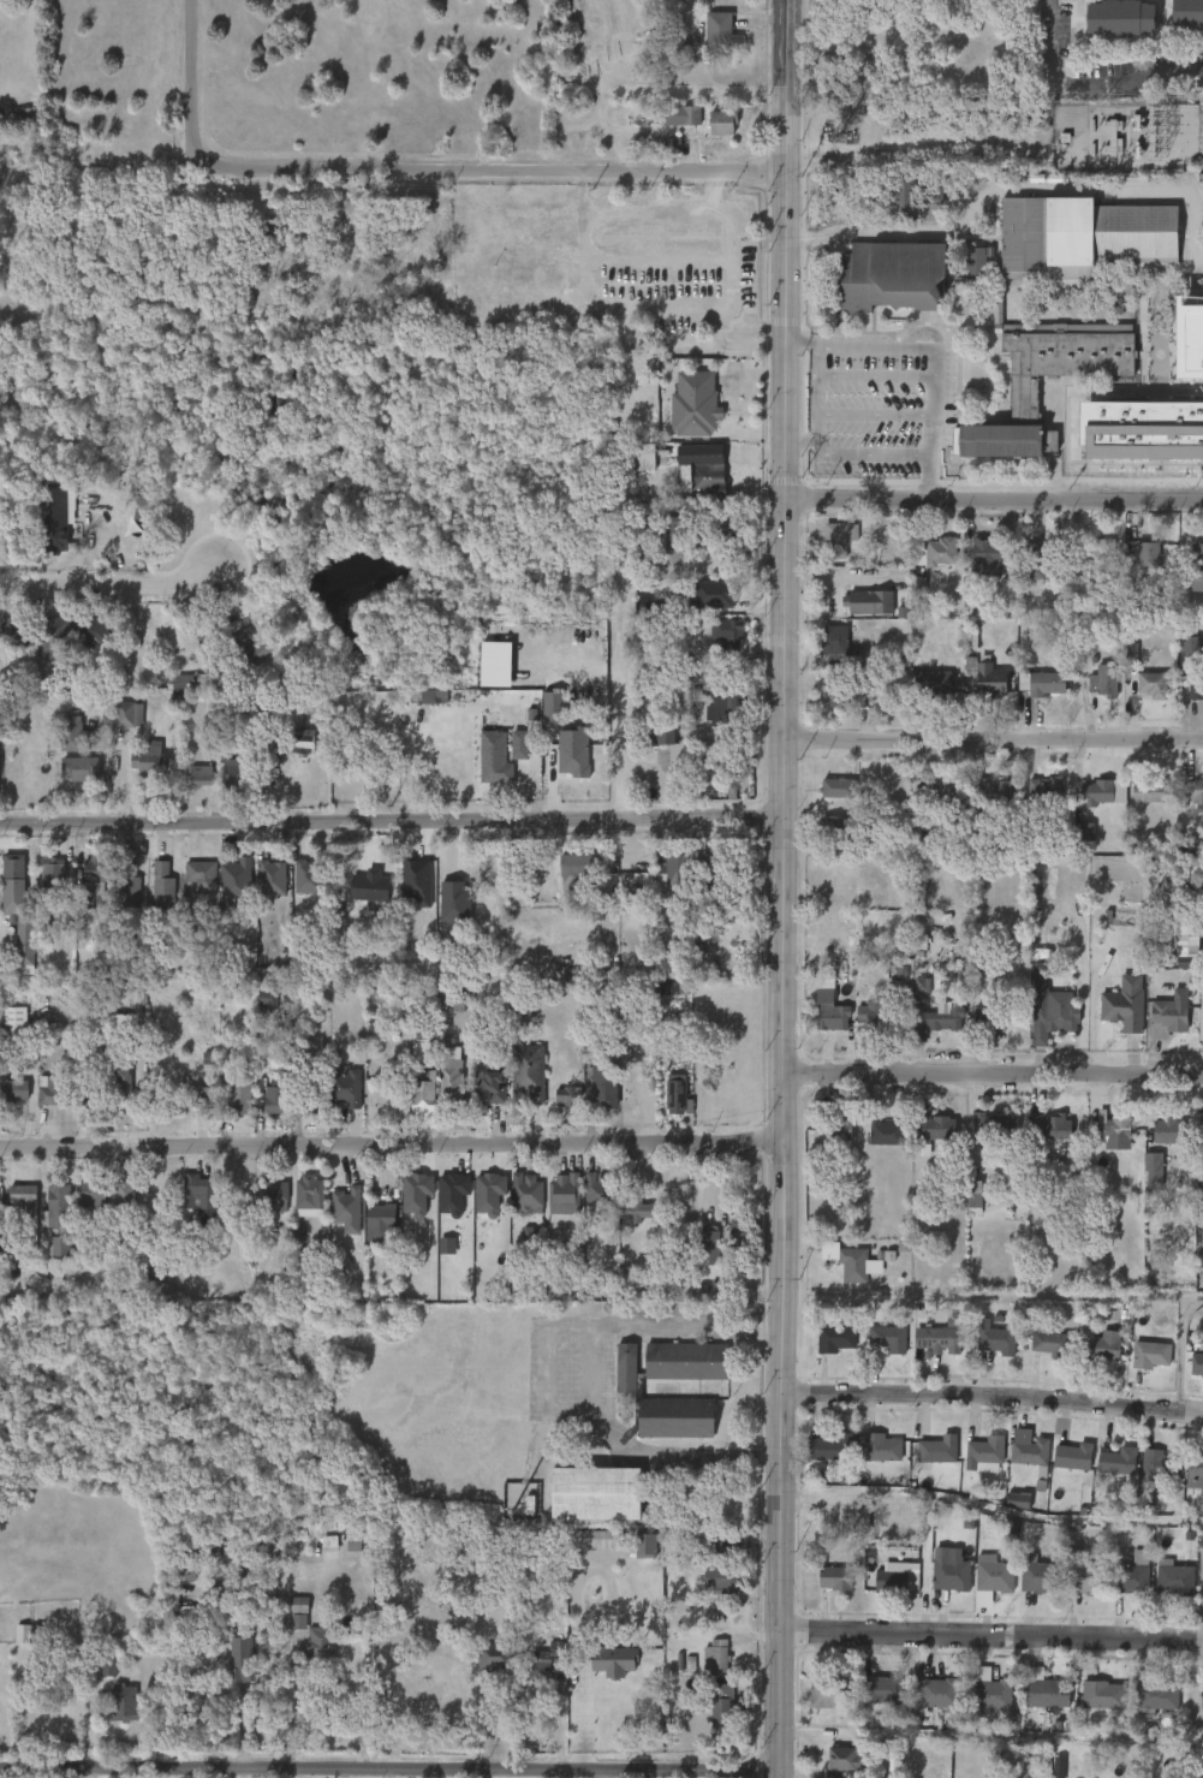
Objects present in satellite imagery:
building: (726, 2)
building: (1186, 12)
building: (1115, 16)
building: (722, 34)
road: (193, 40)
road: (1090, 85)
road: (619, 90)
building: (681, 115)
building: (719, 121)
road: (454, 171)
building: (905, 198)
building: (934, 201)
building: (1084, 236)
building: (975, 262)
building: (894, 275)
building: (1186, 343)
road: (921, 350)
building: (1059, 352)
road: (871, 375)
parking lot: (870, 394)
building: (692, 405)
road: (815, 410)
road: (870, 415)
building: (1138, 434)
building: (1001, 442)
road: (866, 456)
building: (645, 458)
building: (704, 477)
road: (927, 490)
road: (993, 500)
building: (62, 511)
building: (2, 519)
building: (727, 521)
building: (672, 533)
building: (839, 539)
building: (937, 551)
building: (1098, 553)
building: (892, 554)
building: (984, 554)
building: (1145, 557)
building: (1043, 558)
building: (1197, 561)
road: (627, 566)
road: (111, 585)
building: (713, 595)
building: (870, 602)
building: (56, 631)
building: (12, 632)
building: (95, 634)
building: (725, 634)
building: (1191, 646)
building: (840, 647)
building: (245, 648)
building: (1131, 652)
building: (495, 665)
building: (987, 678)
building: (1102, 680)
building: (190, 682)
building: (933, 683)
building: (1044, 683)
building: (1153, 685)
building: (1195, 686)
building: (434, 697)
building: (846, 697)
building: (722, 704)
building: (553, 708)
building: (127, 714)
building: (657, 730)
building: (70, 733)
road: (991, 741)
building: (303, 743)
building: (519, 745)
building: (573, 753)
building: (148, 757)
building: (494, 759)
building: (79, 768)
building: (201, 775)
building: (232, 775)
building: (839, 790)
building: (1047, 791)
building: (1144, 791)
building: (1193, 791)
building: (1094, 792)
building: (991, 795)
building: (936, 796)
road: (391, 820)
building: (834, 832)
building: (1029, 832)
building: (1084, 832)
building: (578, 866)
building: (673, 870)
building: (13, 872)
building: (54, 873)
building: (202, 876)
building: (309, 878)
building: (272, 879)
building: (96, 881)
building: (238, 884)
building: (713, 884)
building: (129, 888)
building: (371, 888)
road: (780, 888)
building: (163, 891)
building: (543, 892)
building: (454, 904)
building: (679, 928)
building: (29, 939)
building: (1186, 940)
building: (663, 963)
building: (1040, 971)
building: (894, 977)
building: (671, 988)
building: (266, 1000)
building: (1122, 1009)
building: (832, 1012)
building: (876, 1015)
building: (14, 1016)
building: (1167, 1017)
building: (936, 1018)
building: (989, 1018)
building: (1052, 1023)
building: (123, 1034)
road: (1202, 1043)
building: (529, 1074)
road: (991, 1075)
building: (449, 1080)
building: (601, 1086)
building: (125, 1088)
building: (489, 1088)
building: (346, 1089)
building: (16, 1090)
building: (58, 1092)
building: (672, 1094)
building: (91, 1096)
building: (240, 1096)
building: (567, 1096)
building: (202, 1099)
building: (421, 1099)
building: (275, 1100)
building: (311, 1101)
building: (401, 1108)
building: (996, 1125)
building: (933, 1128)
building: (1052, 1128)
building: (1198, 1128)
building: (836, 1130)
building: (1112, 1130)
building: (1168, 1130)
building: (883, 1132)
road: (389, 1147)
building: (1154, 1171)
building: (597, 1190)
building: (199, 1191)
building: (524, 1191)
building: (89, 1193)
building: (294, 1193)
building: (416, 1194)
building: (453, 1194)
building: (489, 1194)
building: (561, 1195)
building: (975, 1195)
building: (28, 1196)
building: (125, 1196)
building: (61, 1207)
building: (350, 1209)
building: (636, 1209)
building: (385, 1223)
building: (743, 1237)
building: (59, 1248)
building: (708, 1249)
building: (854, 1263)
building: (836, 1338)
building: (887, 1338)
building: (941, 1339)
building: (996, 1340)
building: (1053, 1344)
building: (1102, 1346)
building: (1149, 1352)
road: (1181, 1352)
building: (686, 1361)
building: (1196, 1362)
building: (627, 1367)
road: (549, 1375)
road: (990, 1397)
building: (672, 1419)
building: (832, 1447)
building: (877, 1447)
building: (935, 1450)
building: (983, 1450)
building: (1026, 1450)
building: (1072, 1457)
building: (1114, 1461)
building: (1157, 1464)
building: (1195, 1471)
building: (589, 1495)
building: (1018, 1500)
building: (857, 1516)
building: (329, 1544)
building: (645, 1545)
building: (725, 1545)
building: (187, 1564)
building: (953, 1574)
building: (1131, 1574)
building: (1085, 1575)
building: (836, 1577)
building: (1042, 1577)
building: (1173, 1577)
building: (994, 1578)
building: (727, 1580)
building: (892, 1581)
road: (1201, 1595)
building: (299, 1612)
road: (989, 1636)
building: (321, 1643)
building: (493, 1655)
building: (720, 1655)
building: (242, 1657)
building: (612, 1658)
building: (40, 1659)
building: (547, 1661)
building: (108, 1667)
building: (885, 1689)
building: (1047, 1690)
road: (317, 1691)
building: (829, 1691)
building: (937, 1691)
building: (991, 1693)
building: (1201, 1693)
building: (1100, 1694)
building: (1157, 1697)
building: (124, 1703)
building: (721, 1708)
building: (844, 1758)
building: (1020, 1759)
road: (386, 1767)
building: (1058, 1767)
road: (621, 1773)

